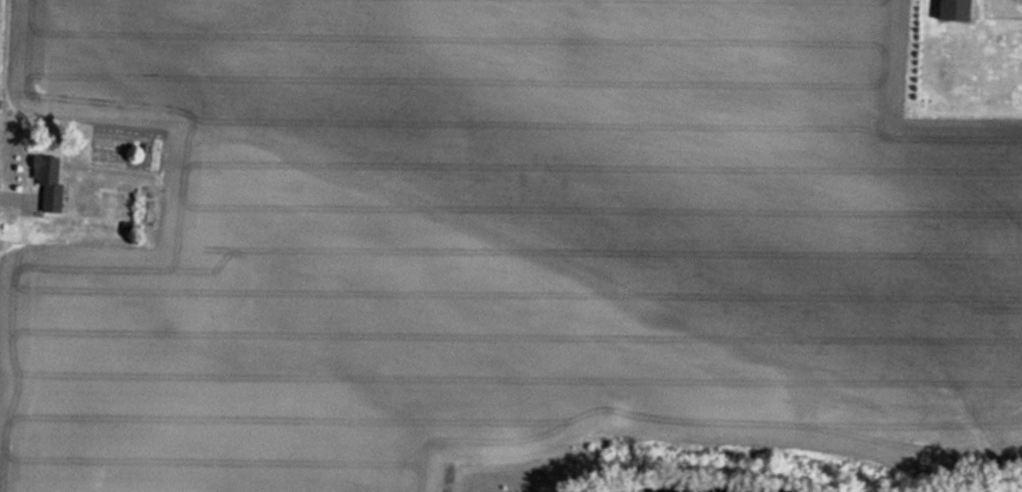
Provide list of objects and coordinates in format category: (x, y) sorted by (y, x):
building: (957, 10)
building: (50, 180)

